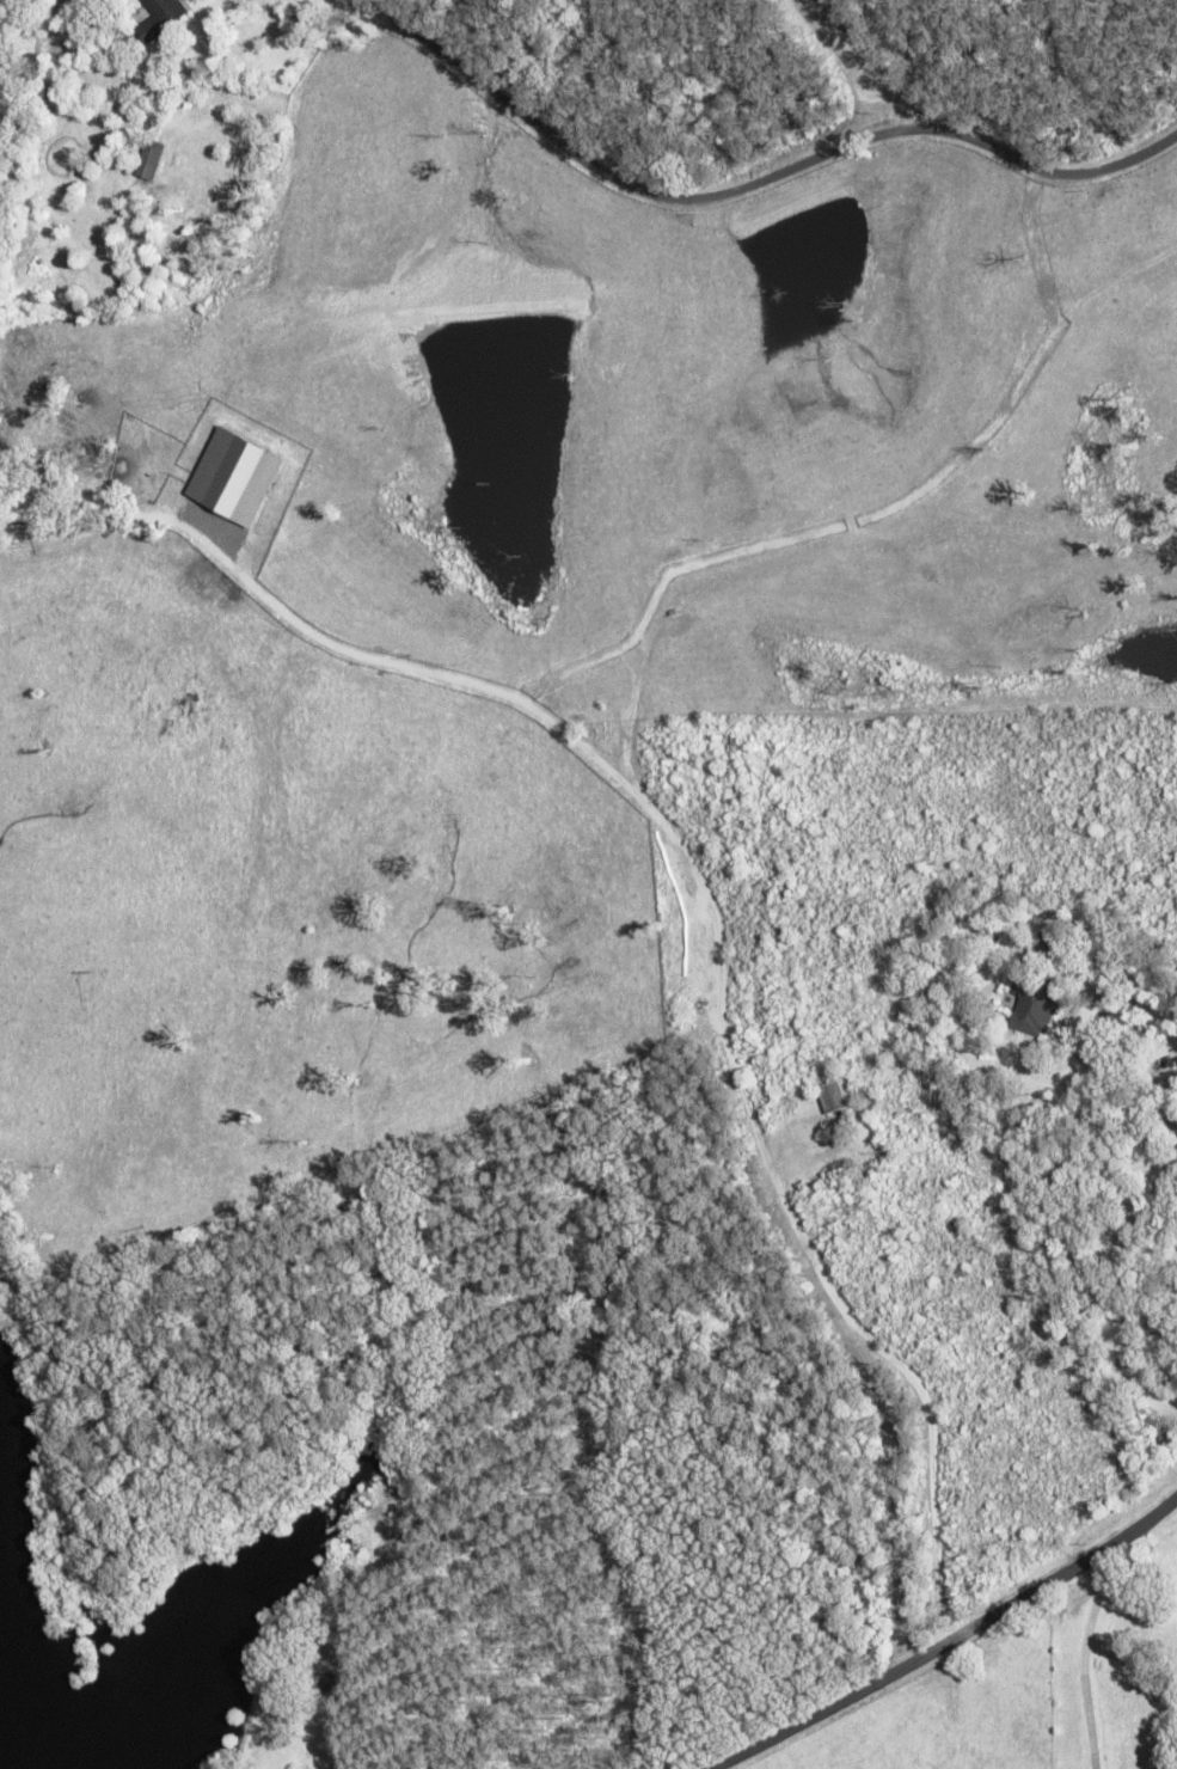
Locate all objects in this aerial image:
building: (163, 18)
road: (1142, 196)
building: (1044, 949)
building: (1034, 1005)
building: (841, 1096)
road: (934, 1640)
road: (1083, 1653)

